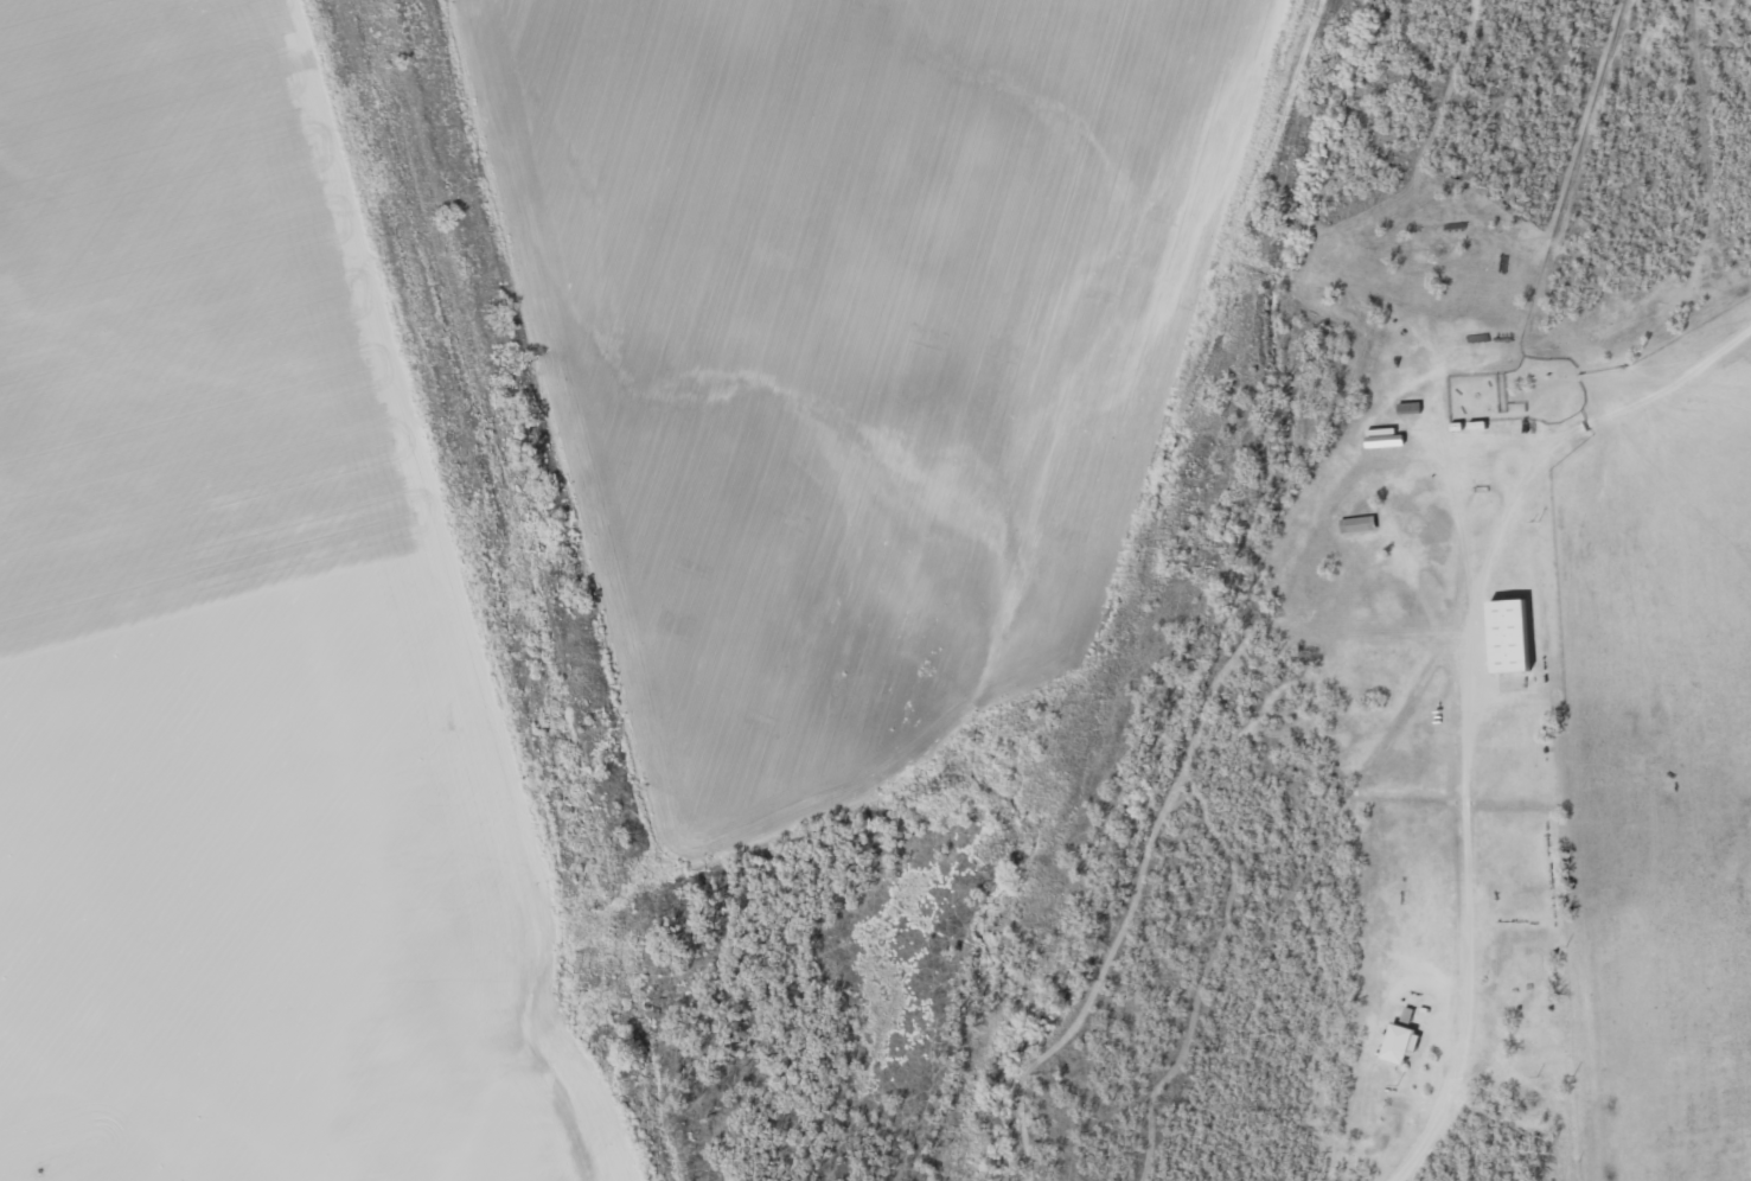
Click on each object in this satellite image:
road: (1519, 331)
building: (1412, 408)
road: (1571, 433)
building: (1388, 441)
building: (1361, 525)
building: (1514, 636)
road: (1456, 907)
building: (1402, 1042)
road: (477, 1161)

